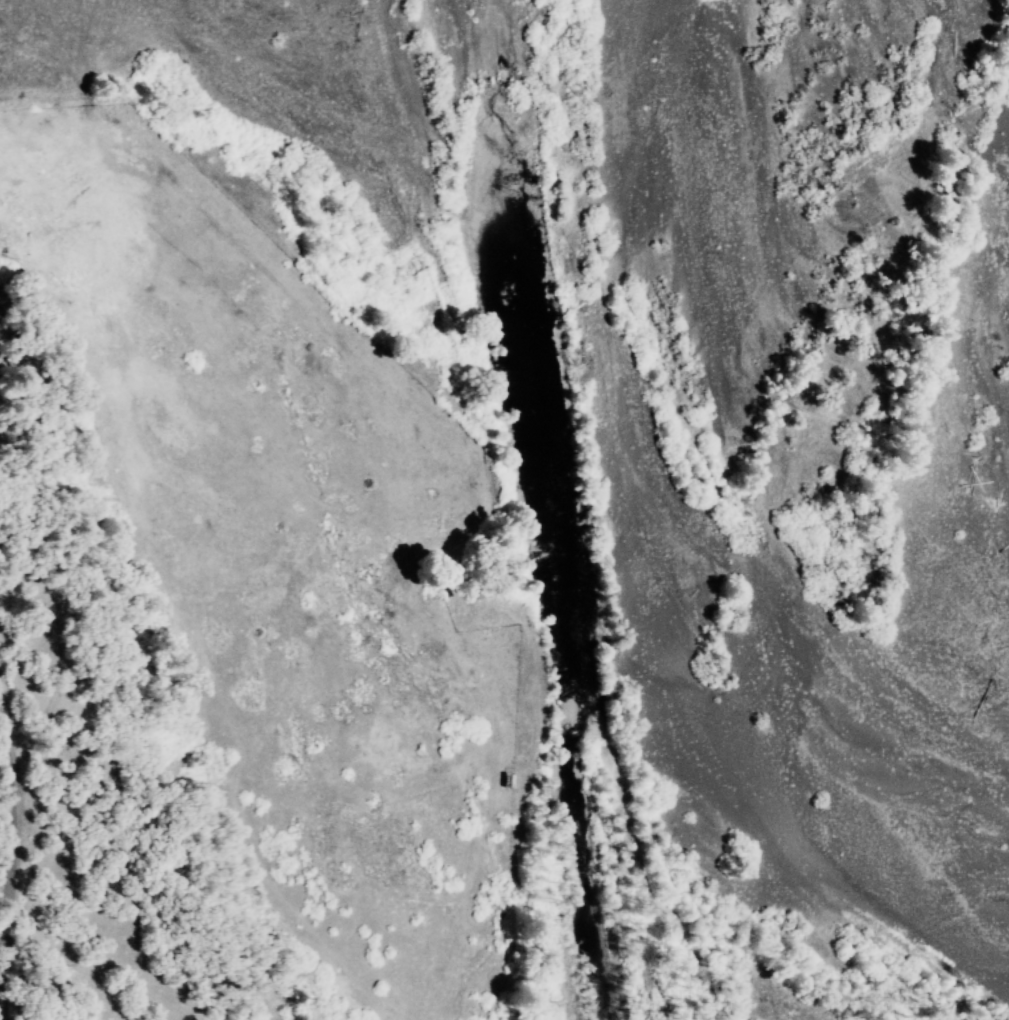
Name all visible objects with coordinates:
river: (691, 515)

